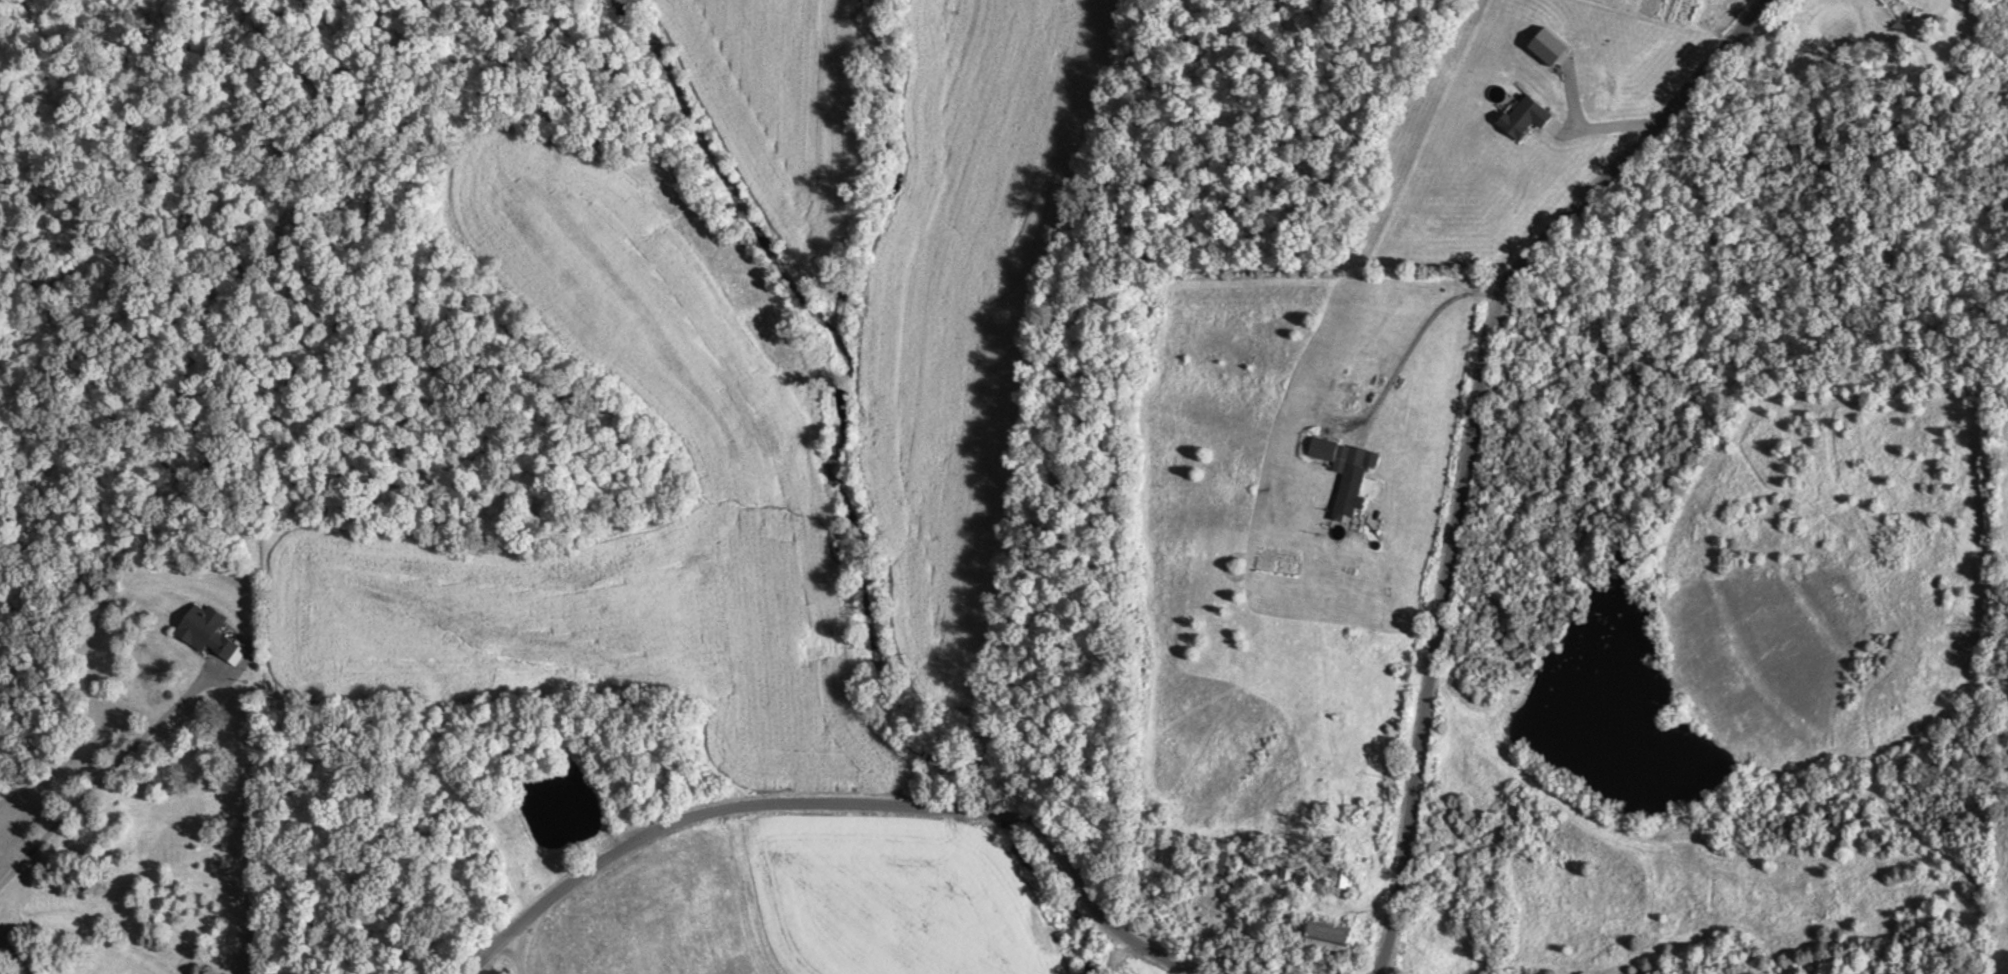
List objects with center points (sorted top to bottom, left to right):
road: (1468, 439)
building: (1322, 448)
building: (1352, 480)
building: (206, 630)
road: (106, 772)
road: (838, 801)
building: (1222, 866)
building: (1279, 868)
building: (1348, 876)
building: (1281, 924)
building: (1333, 937)
road: (514, 951)

